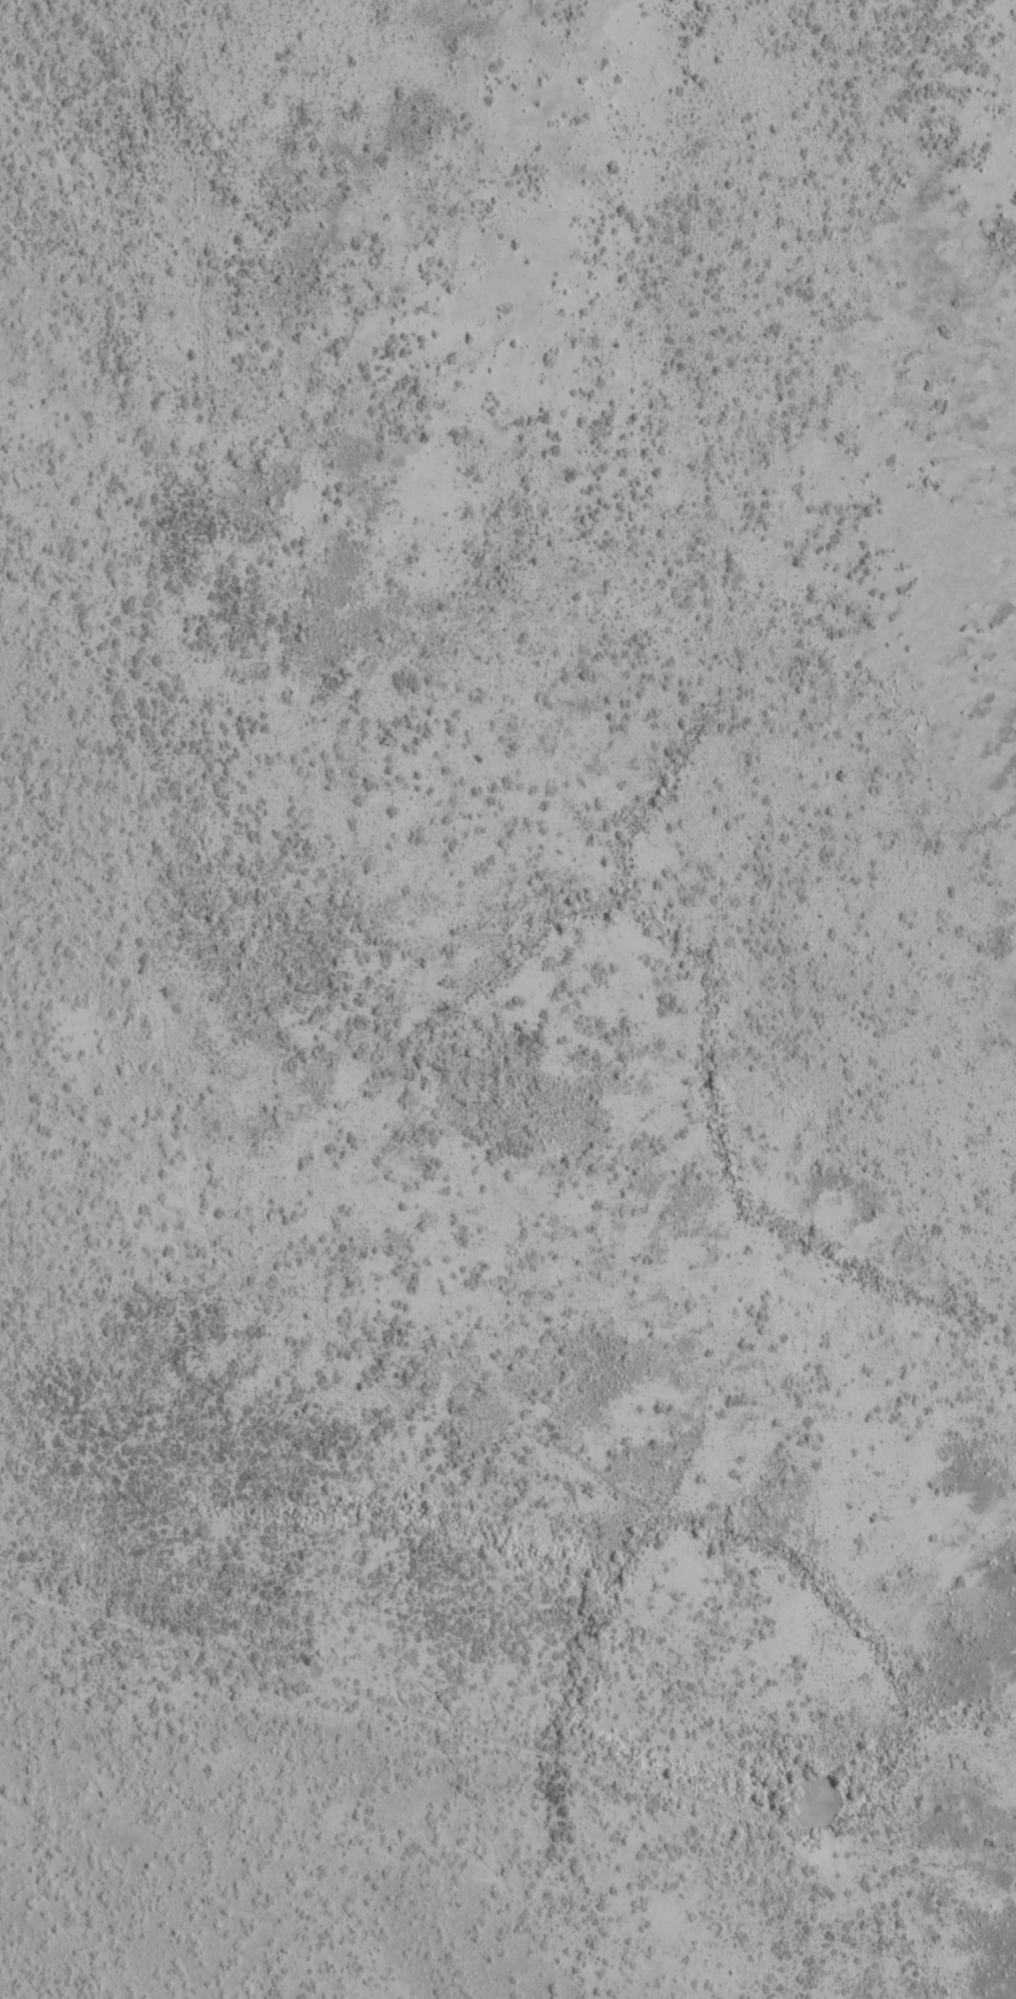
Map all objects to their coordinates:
road: (508, 1738)

